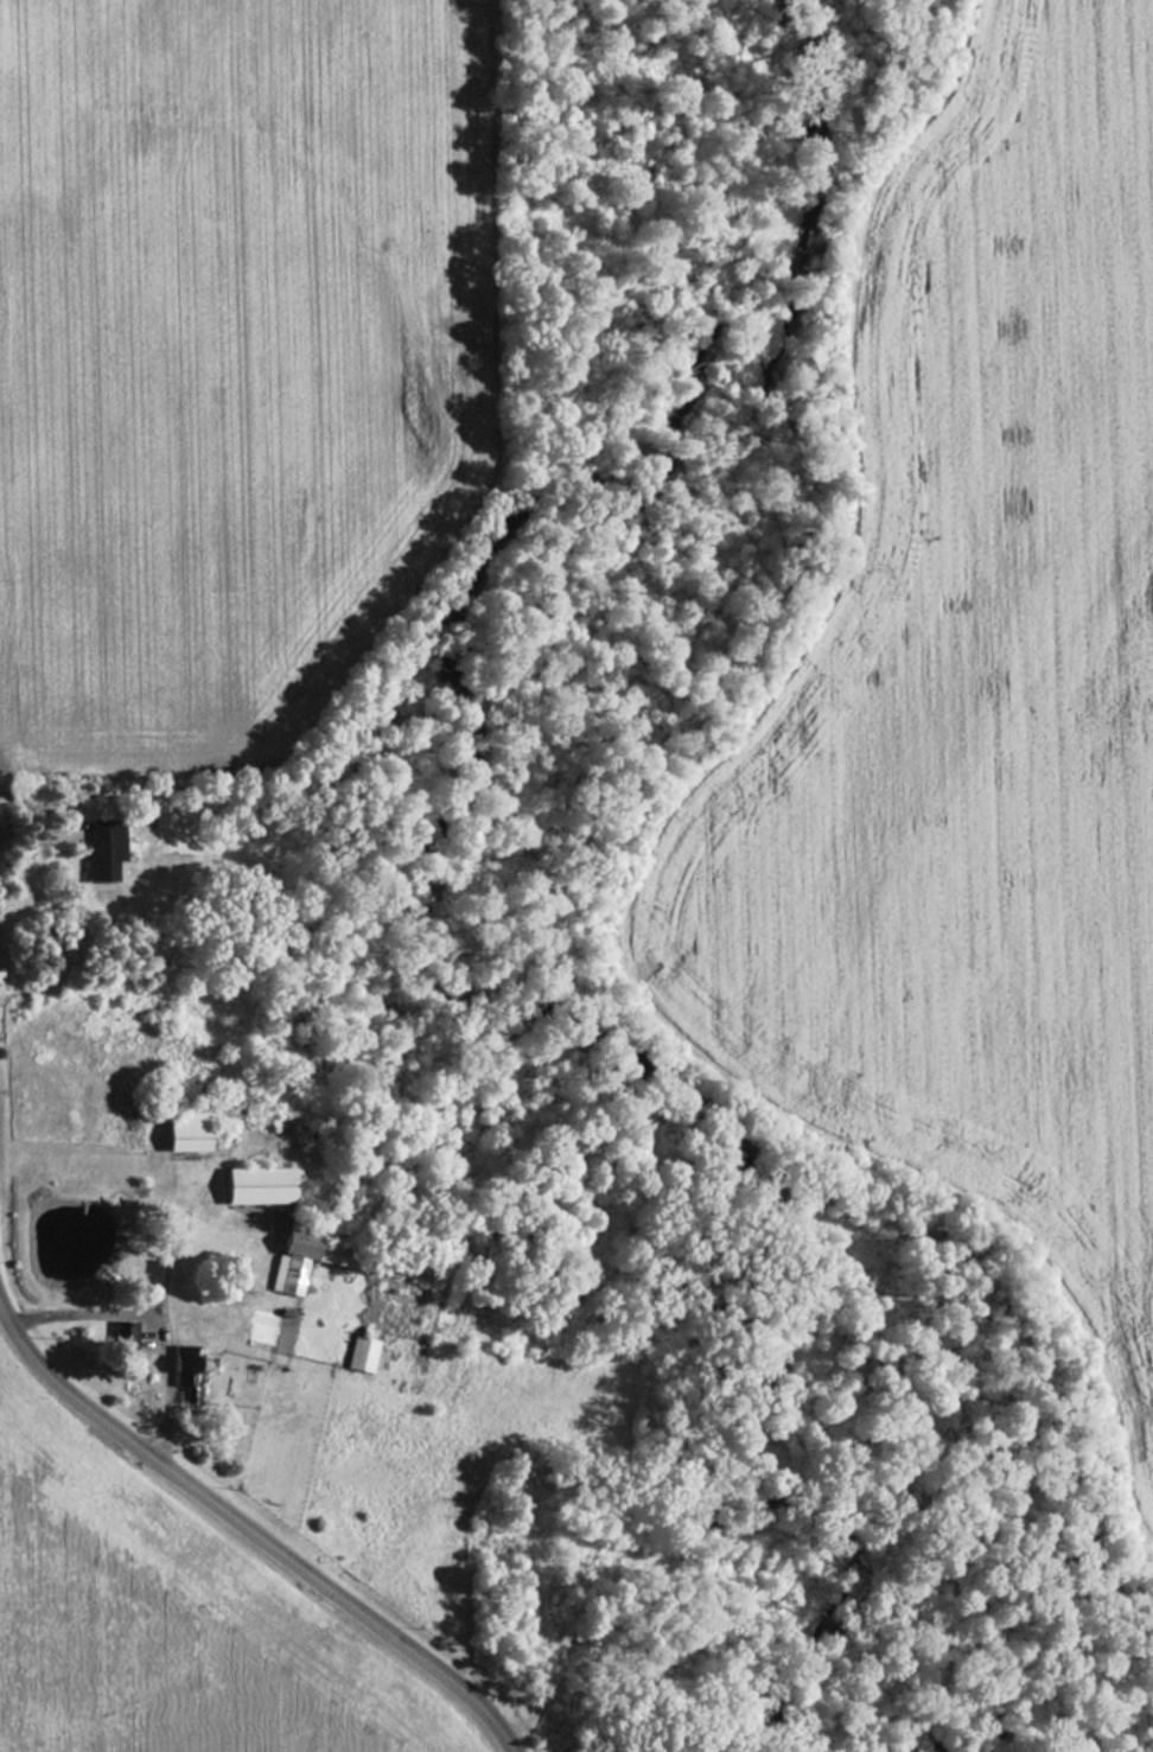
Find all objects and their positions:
crop: (209, 349)
crop: (969, 706)
building: (98, 852)
building: (183, 1133)
building: (253, 1186)
building: (286, 1269)
road: (147, 1319)
building: (121, 1334)
building: (357, 1355)
building: (181, 1374)
road: (250, 1525)
crop: (164, 1623)

